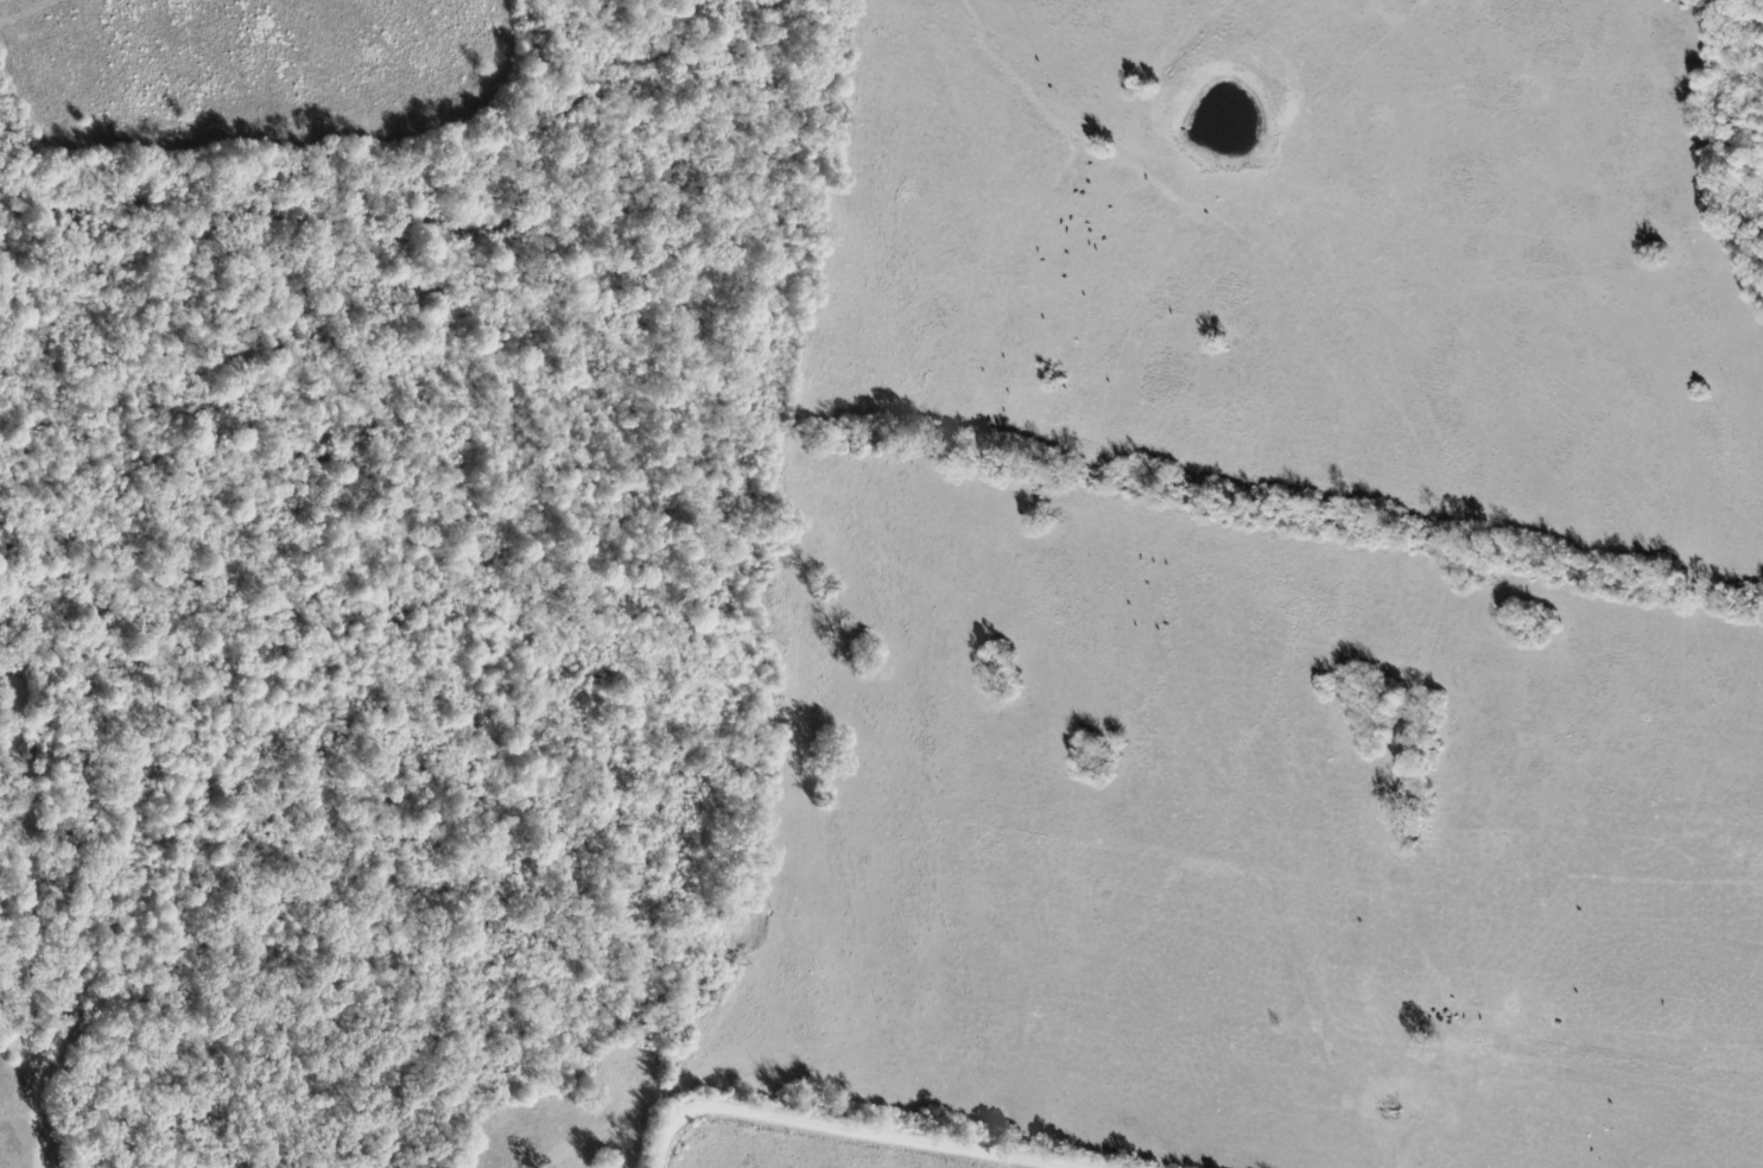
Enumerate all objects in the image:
road: (841, 1130)

